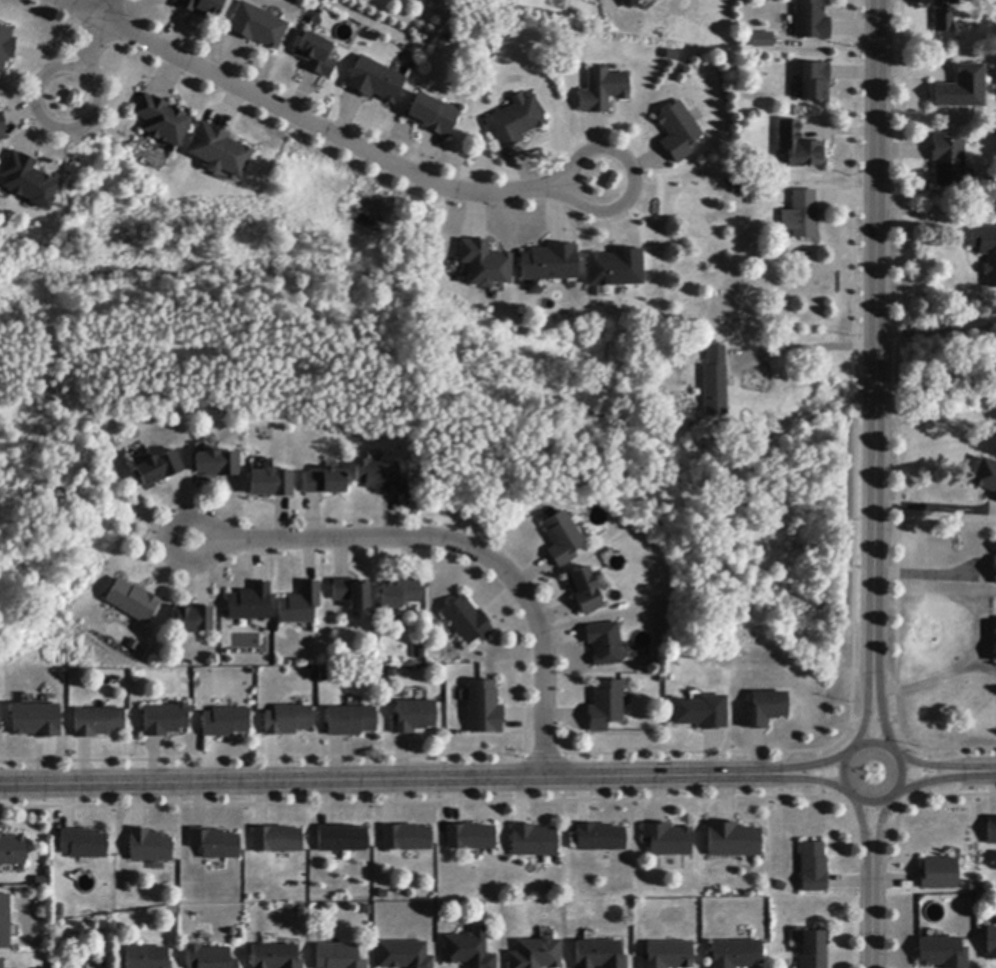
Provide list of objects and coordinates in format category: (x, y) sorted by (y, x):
building: (628, 3)
building: (201, 8)
building: (945, 17)
building: (811, 21)
building: (257, 26)
road: (98, 34)
building: (760, 38)
building: (5, 46)
building: (315, 55)
road: (44, 71)
building: (374, 81)
building: (814, 82)
building: (962, 89)
building: (602, 90)
building: (432, 116)
building: (161, 121)
road: (308, 122)
building: (513, 122)
building: (1, 129)
building: (677, 132)
building: (799, 146)
building: (218, 151)
building: (947, 161)
building: (27, 182)
building: (754, 188)
road: (594, 211)
road: (933, 211)
building: (803, 214)
building: (985, 252)
building: (548, 263)
building: (486, 265)
building: (614, 268)
road: (936, 332)
road: (876, 337)
road: (801, 349)
park: (943, 374)
building: (714, 381)
park: (393, 417)
building: (216, 464)
building: (157, 468)
building: (985, 476)
building: (380, 478)
building: (325, 482)
building: (270, 483)
road: (935, 507)
building: (562, 539)
road: (457, 543)
building: (993, 562)
road: (929, 574)
building: (584, 590)
building: (351, 593)
building: (398, 593)
building: (132, 601)
building: (250, 603)
building: (300, 605)
building: (194, 620)
building: (466, 621)
building: (604, 644)
building: (995, 650)
building: (327, 676)
road: (936, 678)
building: (605, 706)
building: (484, 708)
building: (763, 710)
road: (867, 712)
building: (701, 713)
road: (879, 713)
building: (413, 717)
building: (165, 720)
building: (287, 720)
building: (36, 721)
building: (350, 721)
building: (97, 722)
building: (225, 723)
road: (898, 758)
road: (805, 766)
road: (937, 767)
road: (986, 771)
road: (805, 778)
road: (935, 779)
road: (380, 780)
building: (992, 831)
road: (866, 835)
road: (875, 836)
building: (407, 838)
building: (471, 838)
building: (600, 838)
building: (342, 839)
building: (277, 840)
building: (668, 840)
building: (534, 841)
building: (734, 841)
building: (83, 844)
building: (215, 844)
building: (150, 847)
building: (12, 851)
building: (813, 868)
building: (939, 875)
road: (870, 921)
building: (5, 922)
building: (991, 944)
building: (468, 949)
building: (813, 949)
building: (942, 953)
building: (536, 954)
building: (735, 954)
building: (404, 955)
building: (600, 955)
building: (668, 955)
building: (275, 957)
building: (338, 957)
building: (147, 958)
building: (209, 958)
building: (1, 964)

